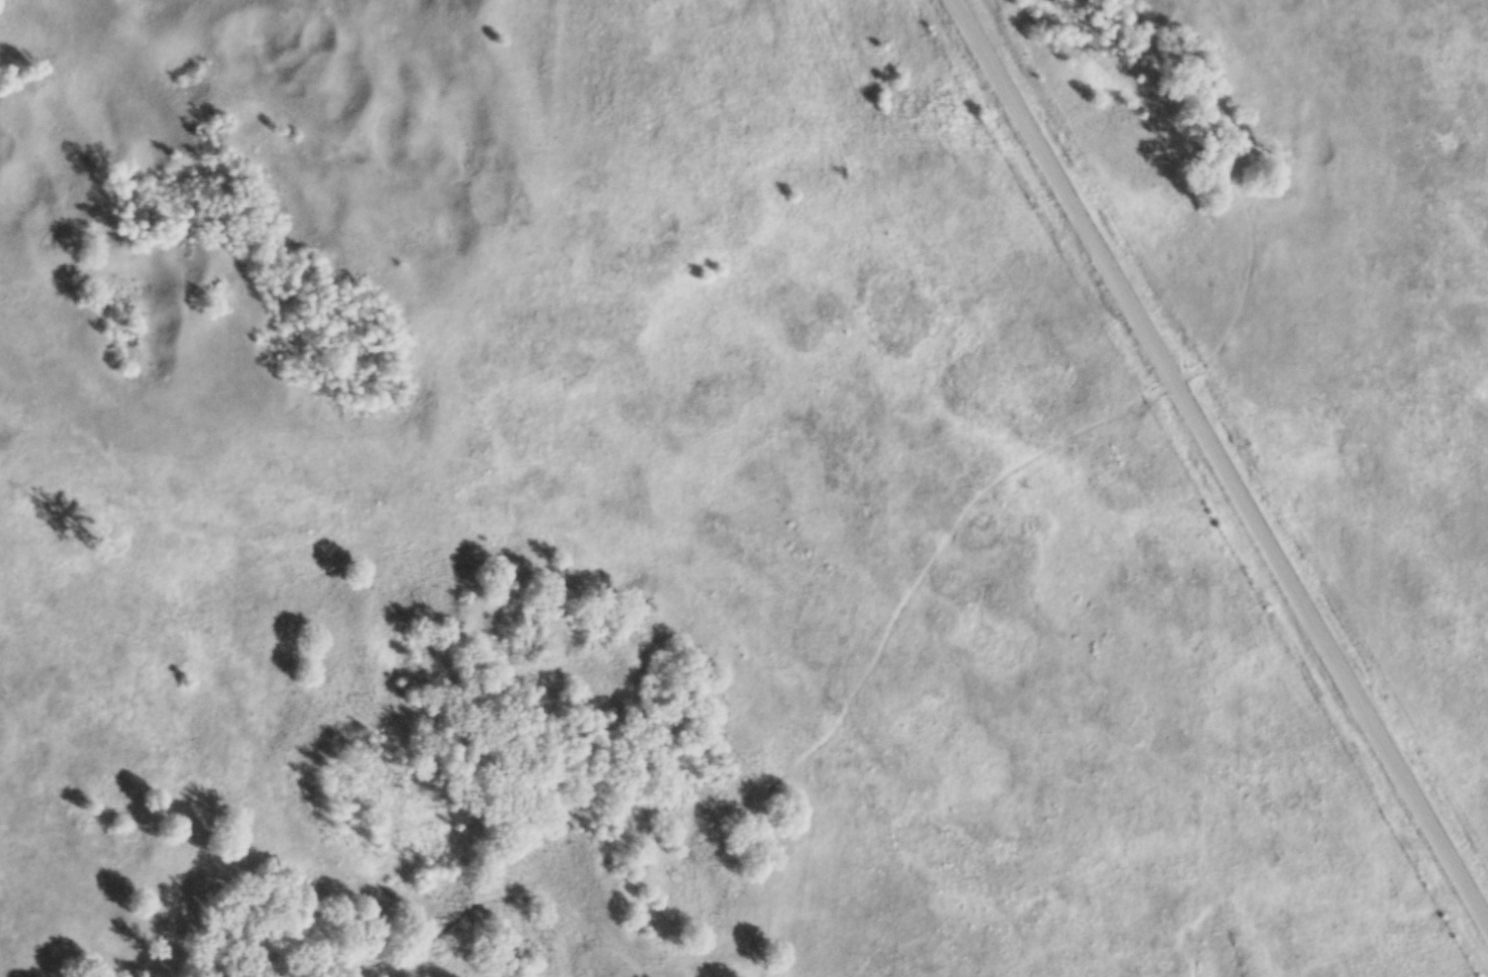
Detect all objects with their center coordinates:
road: (1024, 458)
road: (1221, 464)
road: (450, 925)

